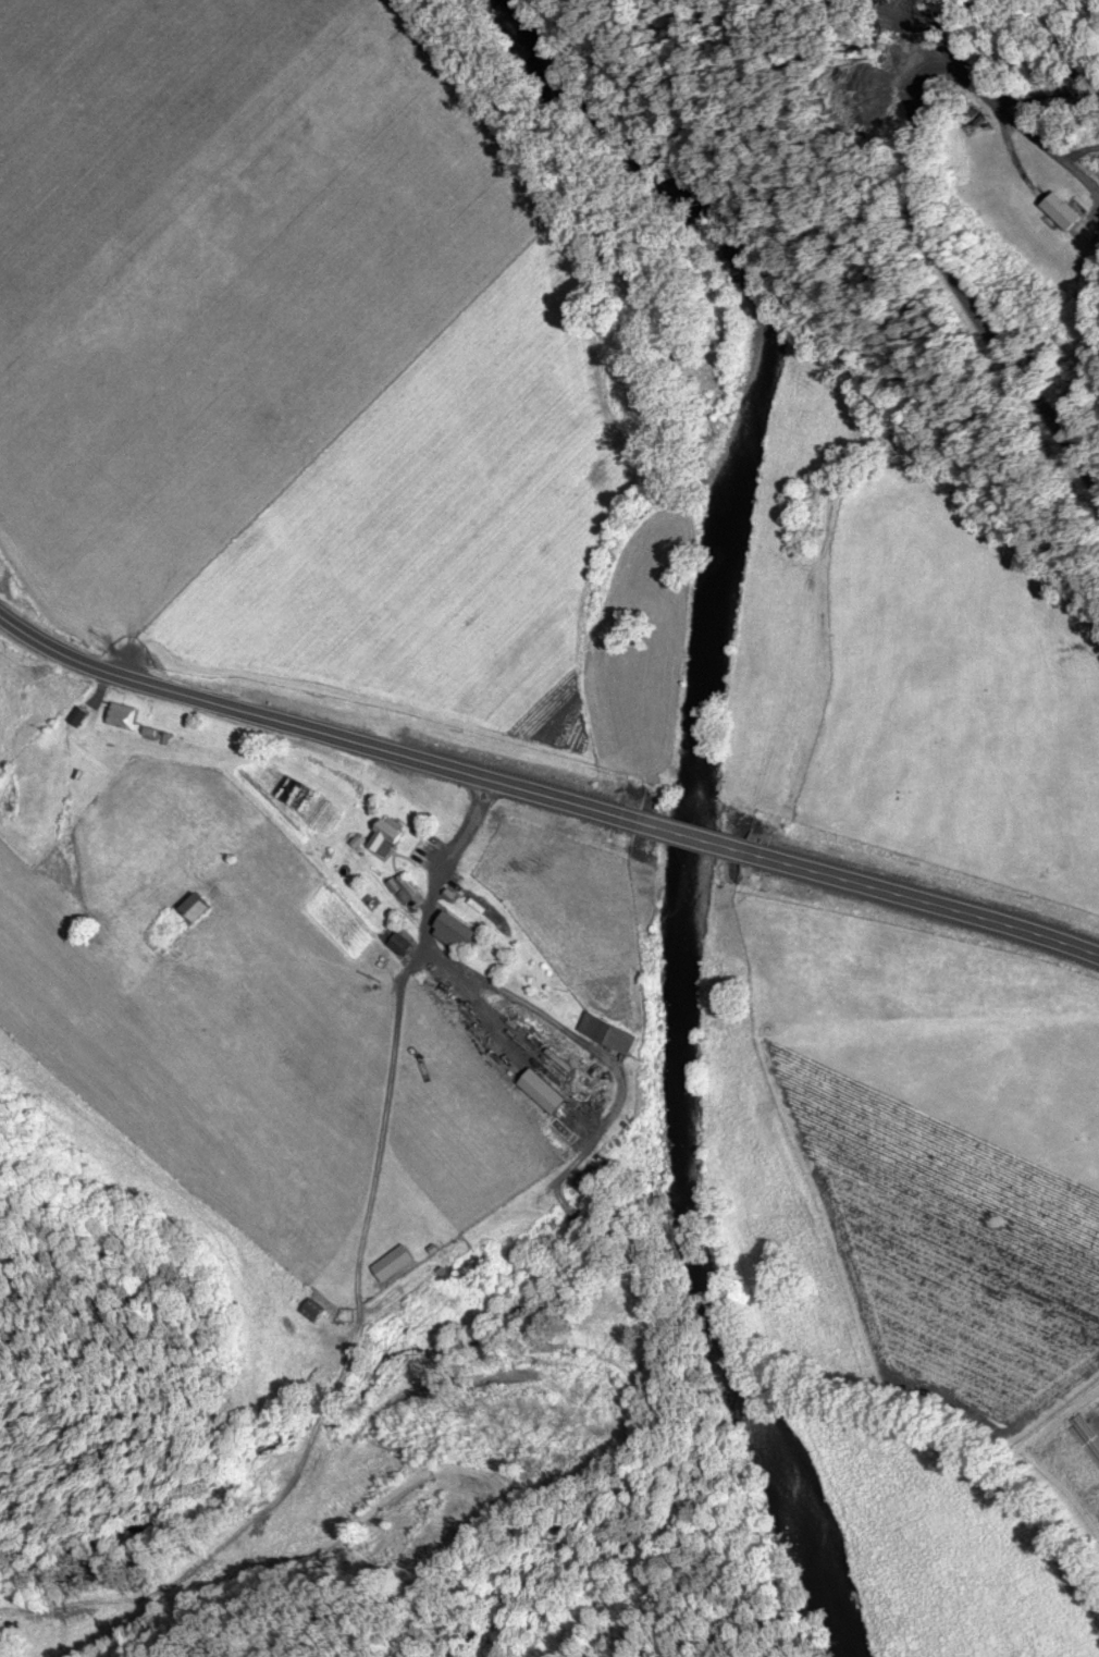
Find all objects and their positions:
building: (1063, 205)
road: (877, 278)
road: (314, 723)
river: (700, 805)
road: (695, 832)
building: (380, 838)
road: (925, 899)
building: (193, 905)
building: (450, 926)
building: (605, 1030)

